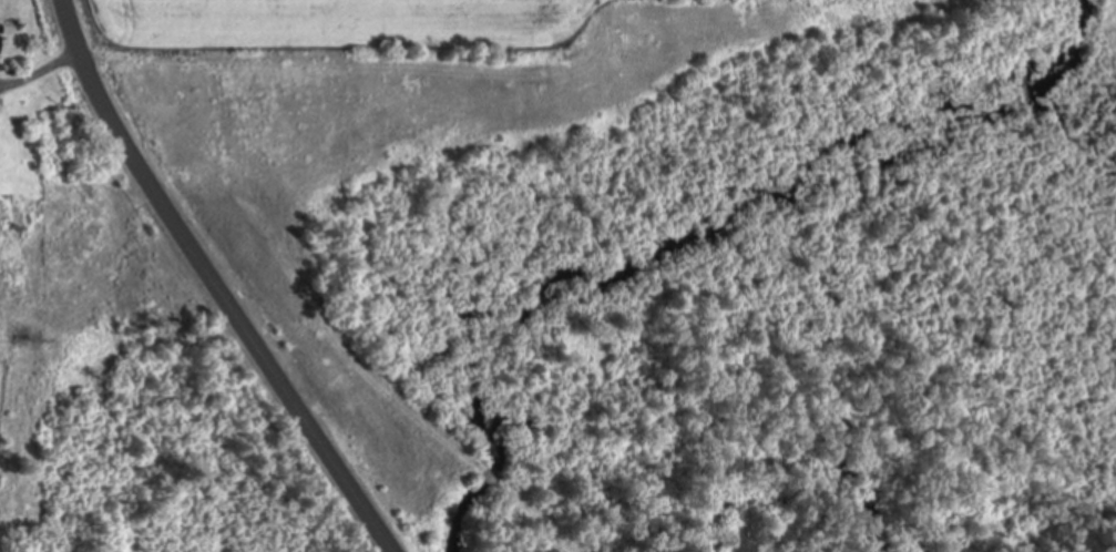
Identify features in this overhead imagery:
road: (215, 283)

